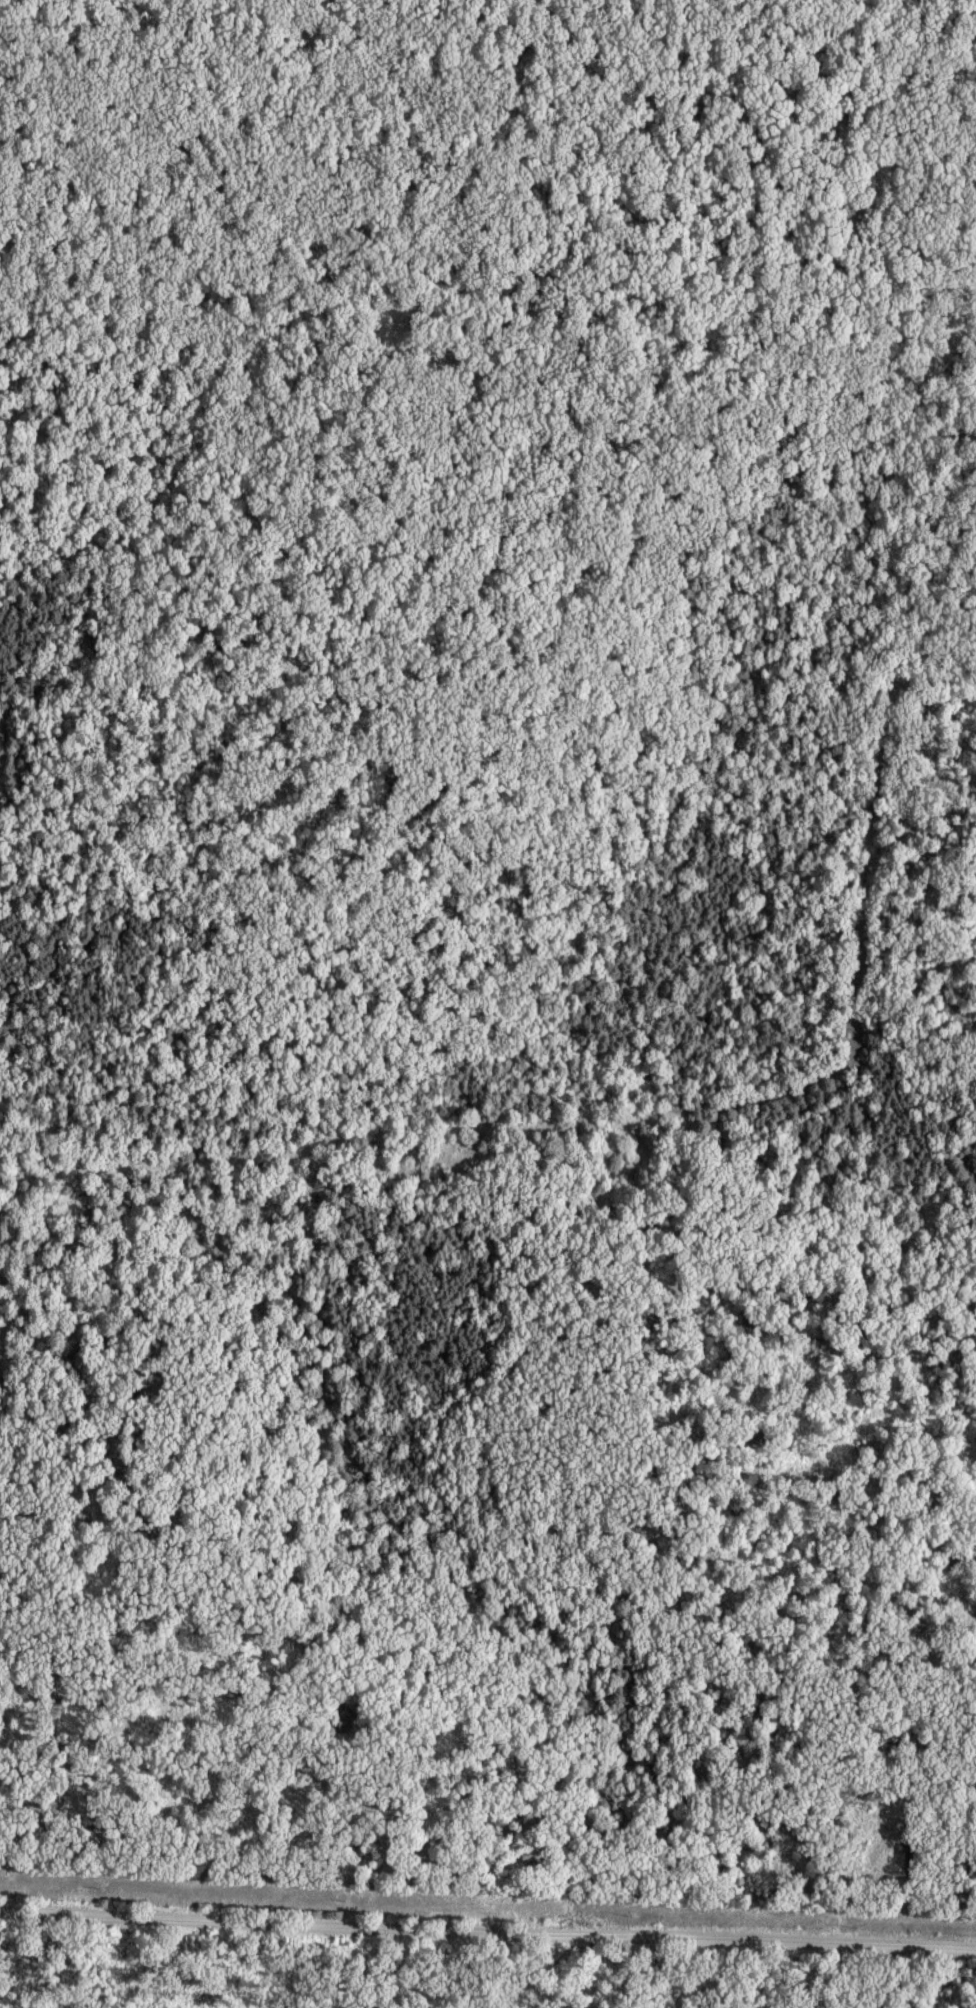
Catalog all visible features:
road: (487, 1929)
road: (657, 1971)

